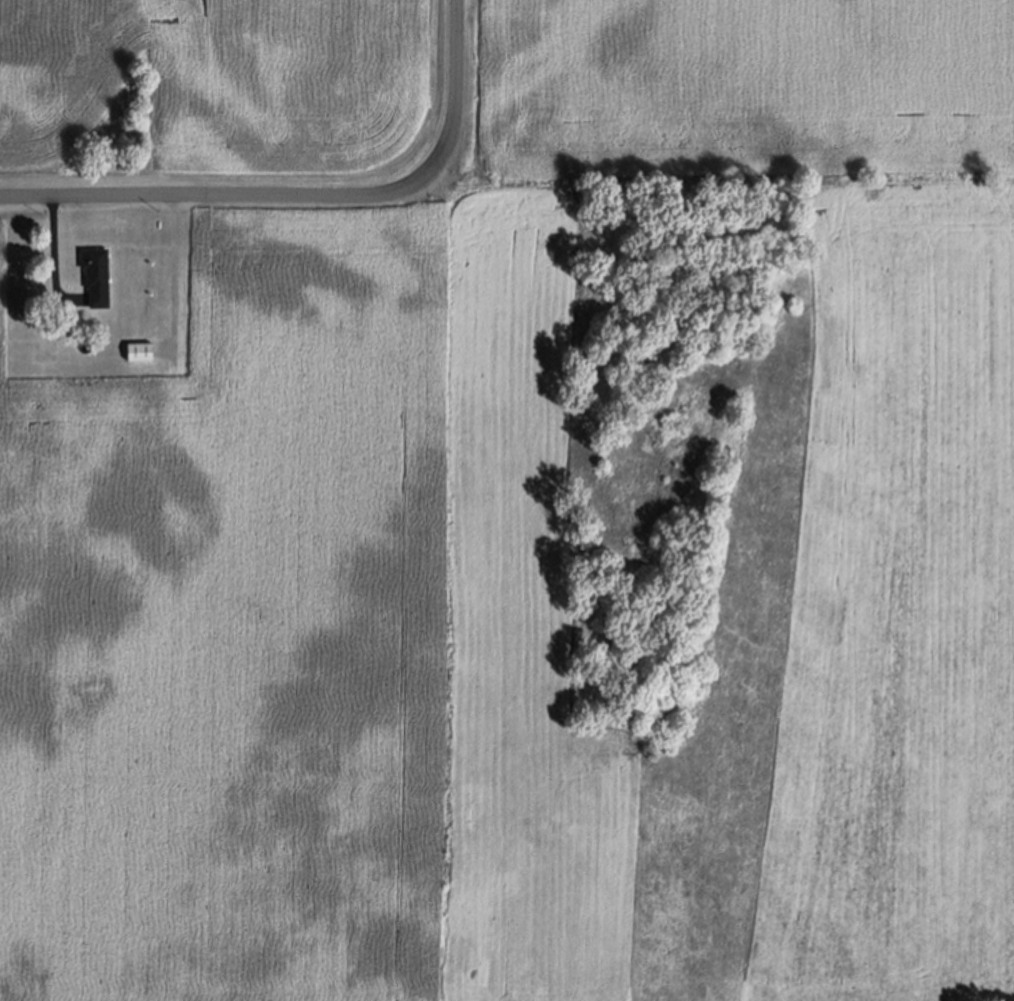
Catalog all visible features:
road: (457, 55)
road: (252, 195)
building: (96, 275)
building: (86, 348)
building: (139, 351)

